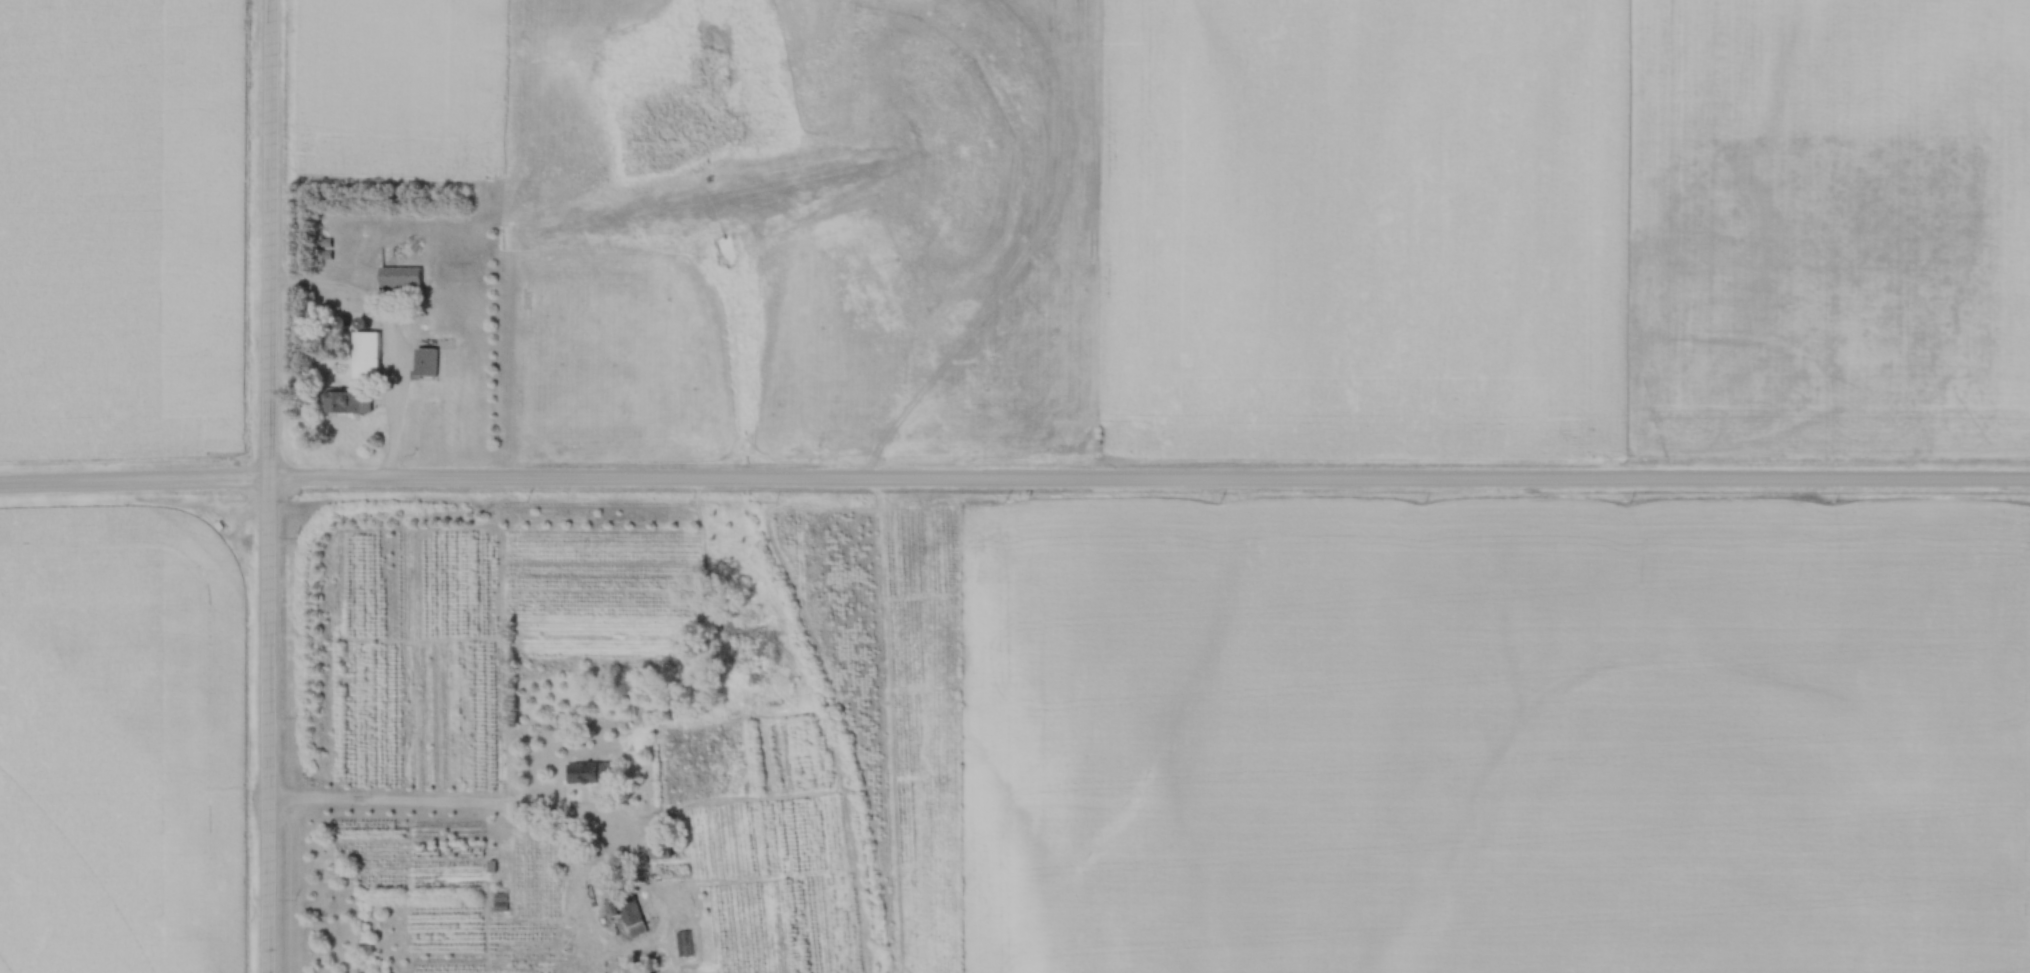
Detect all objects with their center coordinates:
crop: (119, 228)
building: (404, 279)
road: (388, 341)
building: (372, 354)
building: (431, 360)
building: (347, 400)
road: (1014, 482)
road: (269, 486)
building: (591, 772)
road: (463, 805)
building: (674, 849)
building: (631, 898)

